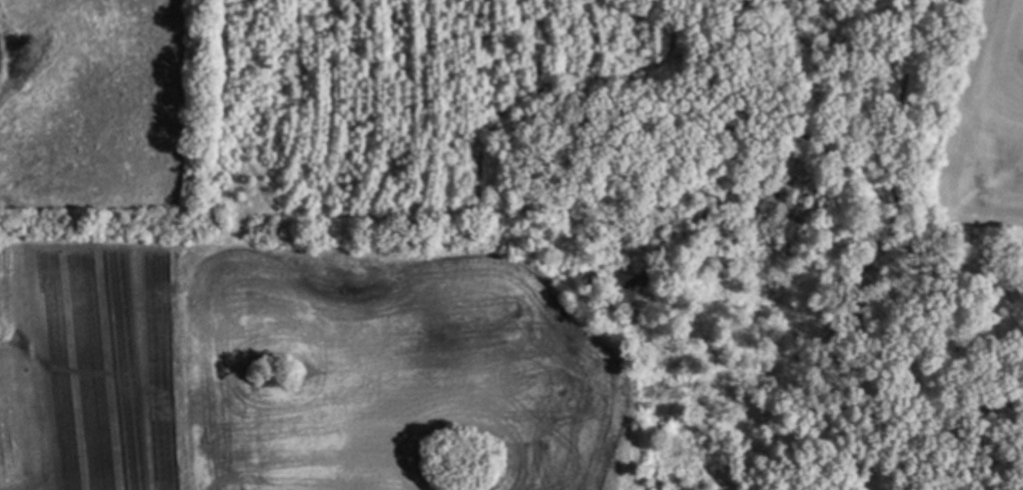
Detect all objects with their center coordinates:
crop: (258, 312)

